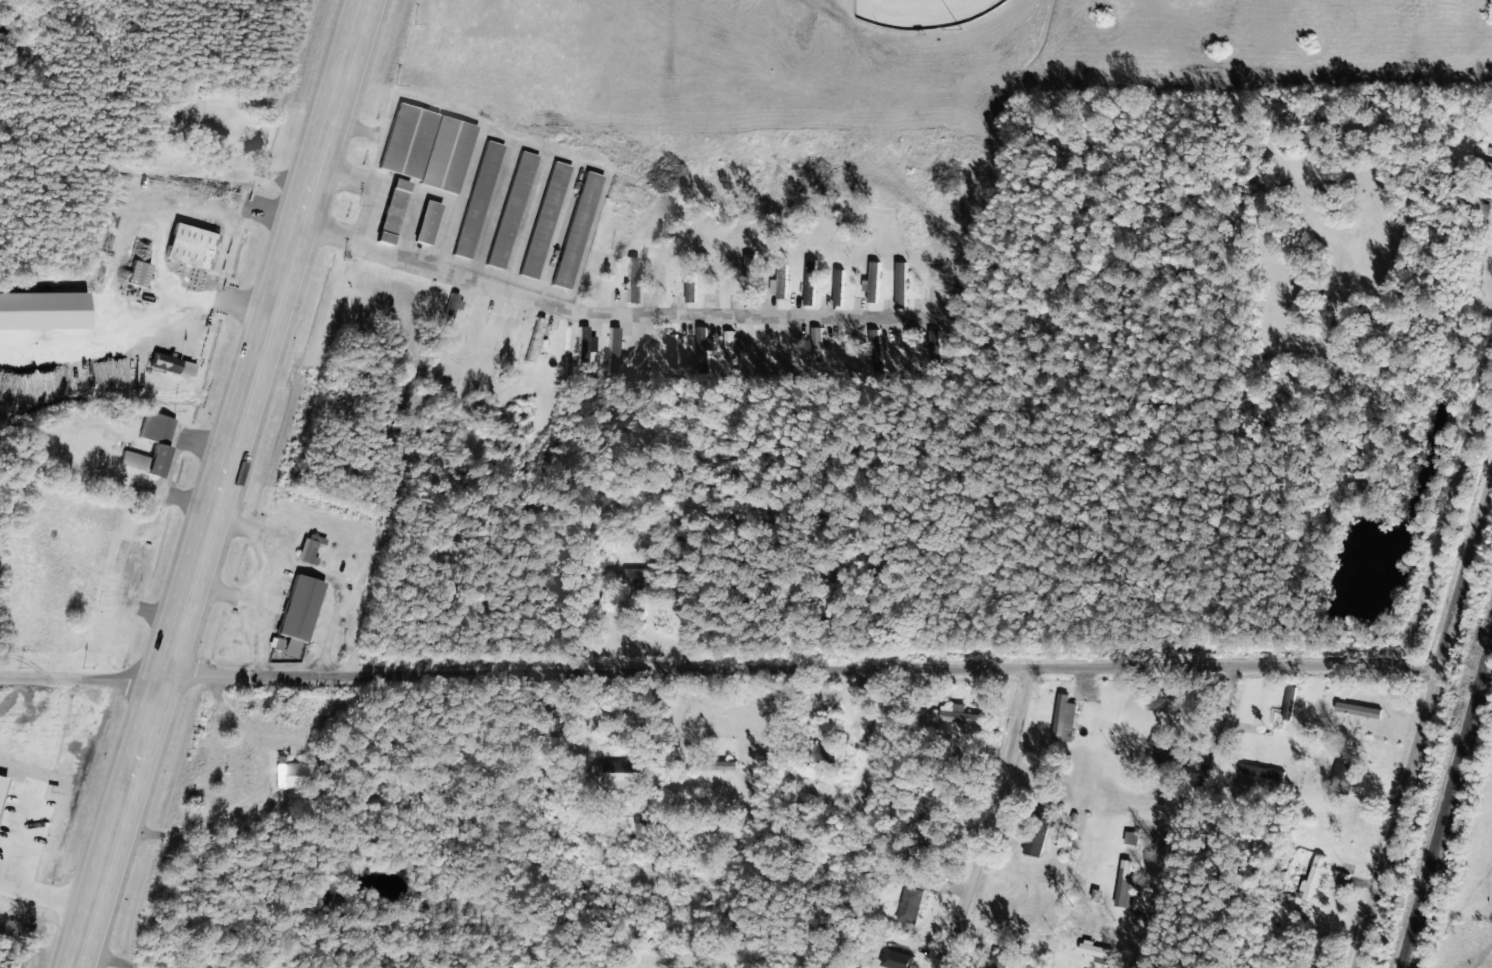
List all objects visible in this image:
building: (192, 110)
building: (424, 146)
building: (474, 198)
building: (508, 208)
building: (388, 210)
building: (541, 218)
building: (424, 221)
building: (573, 228)
building: (186, 244)
building: (134, 272)
building: (628, 278)
building: (780, 279)
building: (809, 281)
building: (871, 281)
building: (900, 283)
building: (930, 284)
building: (837, 285)
building: (689, 287)
building: (40, 309)
building: (449, 309)
road: (614, 316)
building: (531, 338)
building: (814, 342)
building: (931, 344)
building: (729, 346)
building: (582, 347)
building: (701, 347)
building: (756, 347)
building: (610, 349)
building: (670, 349)
building: (784, 350)
building: (871, 350)
building: (901, 350)
building: (161, 361)
road: (247, 389)
building: (157, 444)
building: (304, 551)
building: (630, 576)
building: (292, 614)
road: (797, 670)
road: (80, 678)
building: (1288, 703)
building: (1356, 709)
building: (958, 714)
building: (1062, 717)
road: (1421, 717)
building: (1162, 753)
building: (1260, 771)
building: (287, 774)
building: (620, 774)
building: (1342, 775)
railway: (1445, 799)
road: (983, 817)
road: (1191, 817)
building: (1130, 837)
road: (102, 873)
building: (1124, 885)
building: (909, 901)
building: (1095, 950)
building: (996, 960)
building: (904, 963)
building: (1107, 967)

